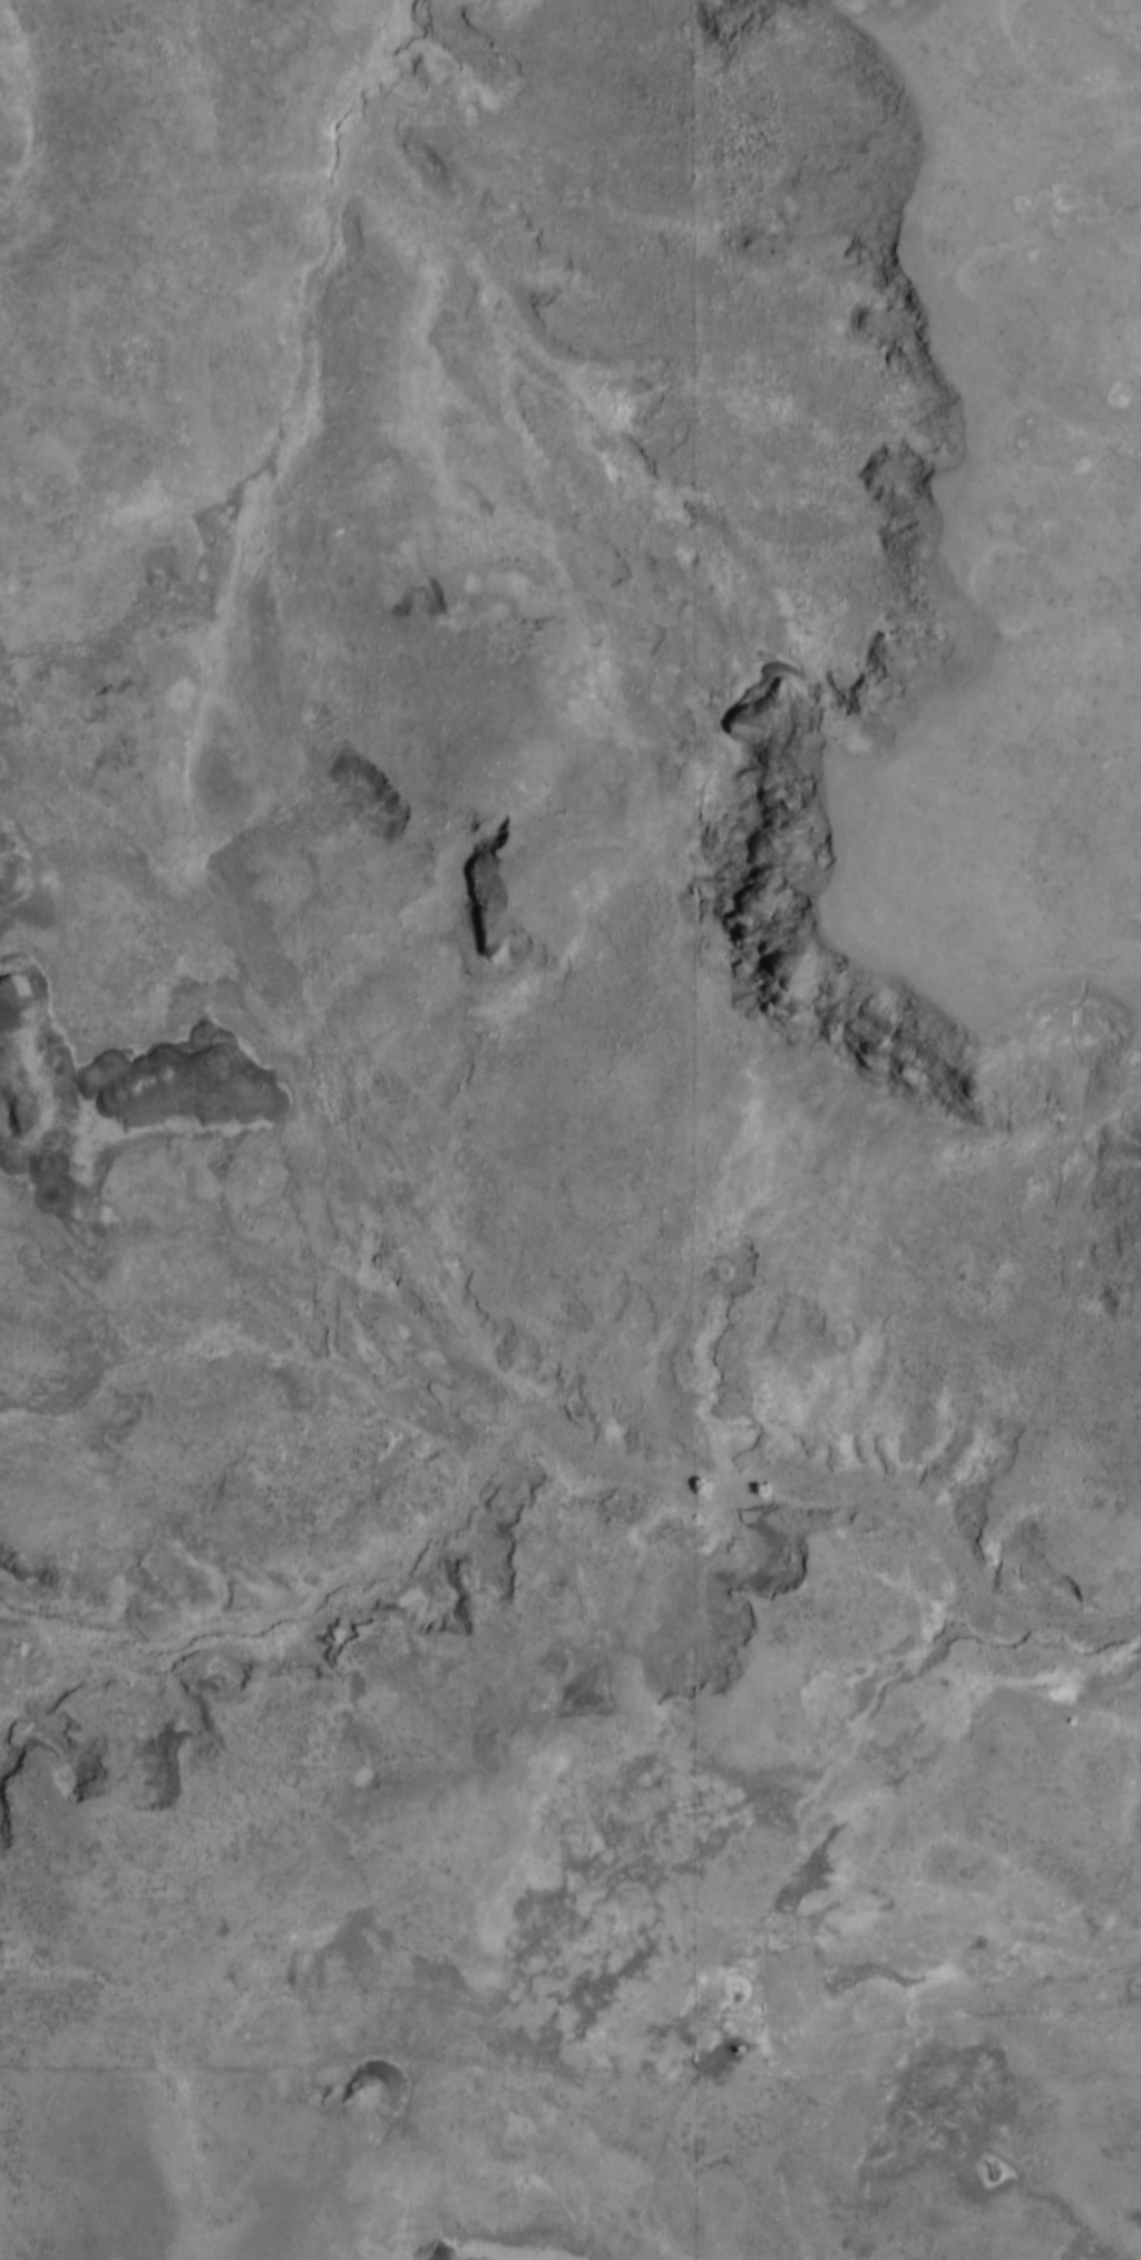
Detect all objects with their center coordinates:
road: (849, 2033)
road: (798, 2159)

